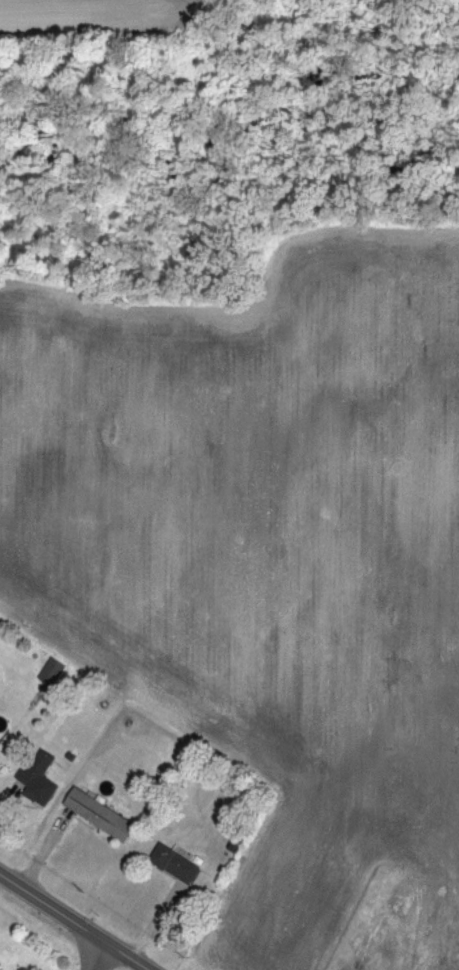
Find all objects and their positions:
road: (226, 301)
park: (173, 320)
building: (96, 332)
road: (227, 335)
road: (200, 357)
building: (321, 370)
building: (400, 414)
building: (169, 419)
building: (440, 443)
building: (255, 453)
building: (292, 476)
road: (17, 495)
building: (329, 495)
building: (137, 517)
building: (367, 520)
building: (174, 540)
building: (404, 548)
building: (214, 569)
building: (44, 575)
building: (251, 592)
building: (456, 600)
building: (84, 610)
building: (290, 615)
building: (131, 637)
building: (328, 641)
road: (246, 642)
building: (172, 657)
building: (369, 665)
building: (50, 668)
building: (214, 689)
building: (405, 690)
building: (263, 711)
road: (16, 727)
building: (301, 746)
building: (37, 775)
building: (372, 785)
building: (97, 810)
building: (348, 827)
building: (173, 860)
building: (322, 870)
road: (389, 872)
road: (402, 881)
building: (297, 904)
road: (76, 921)
building: (275, 945)
road: (100, 956)

